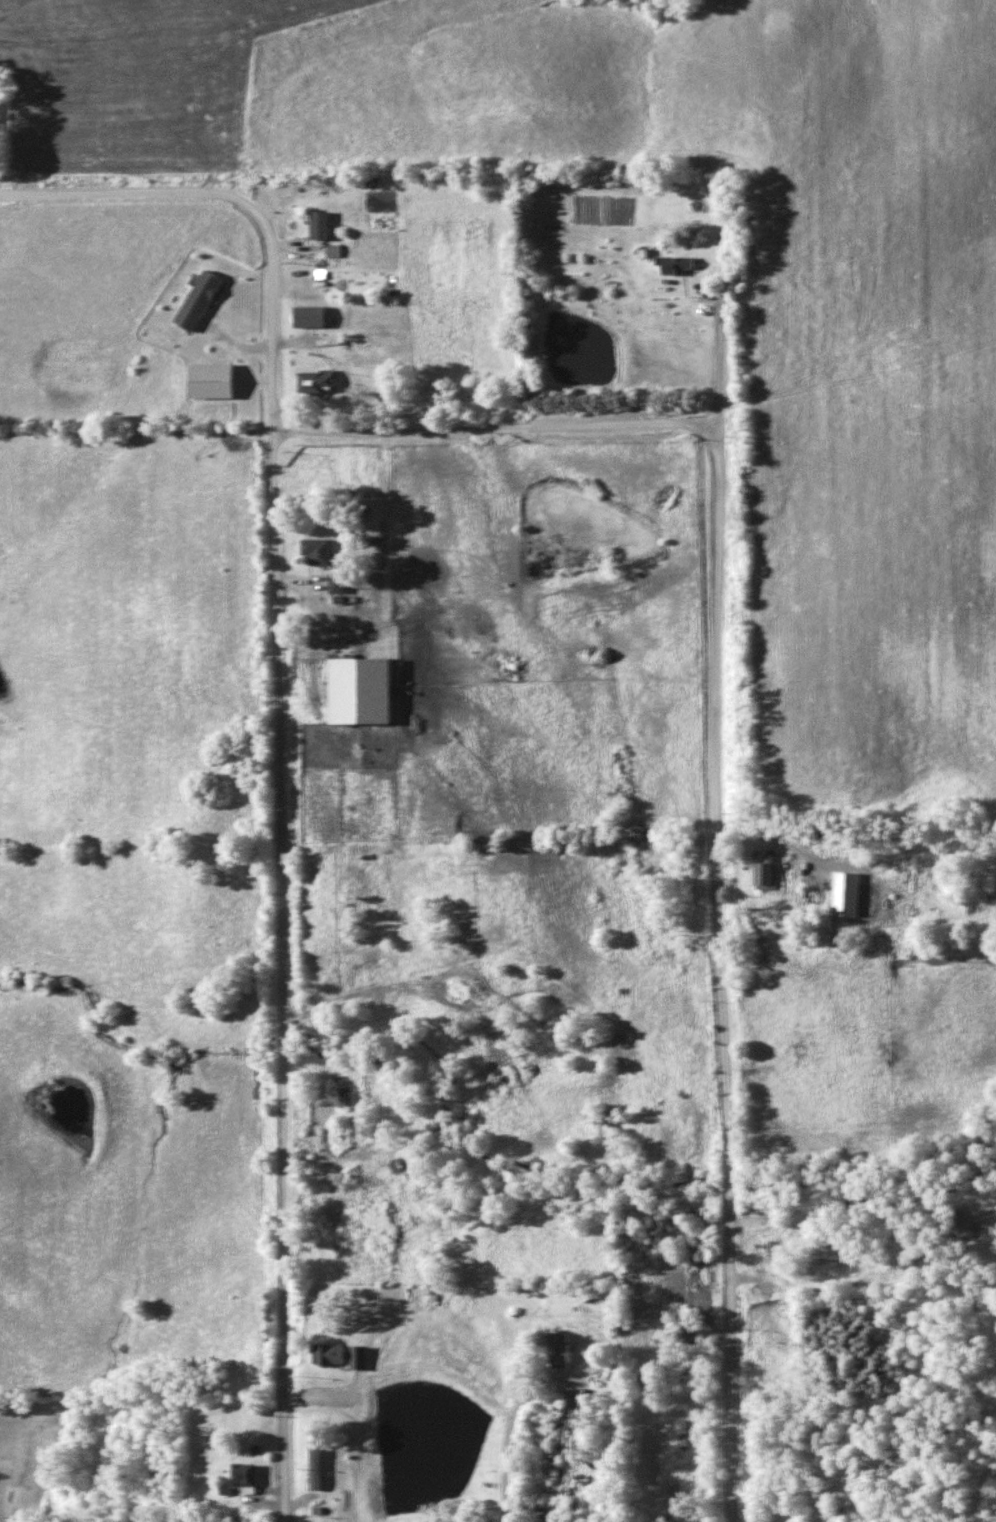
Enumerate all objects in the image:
road: (136, 188)
building: (325, 224)
building: (316, 313)
road: (718, 353)
building: (220, 378)
building: (319, 380)
road: (488, 424)
building: (318, 551)
building: (370, 686)
road: (275, 868)
building: (771, 869)
building: (852, 890)
road: (721, 974)
road: (742, 1231)
building: (568, 1347)
road: (515, 1465)
building: (321, 1475)

